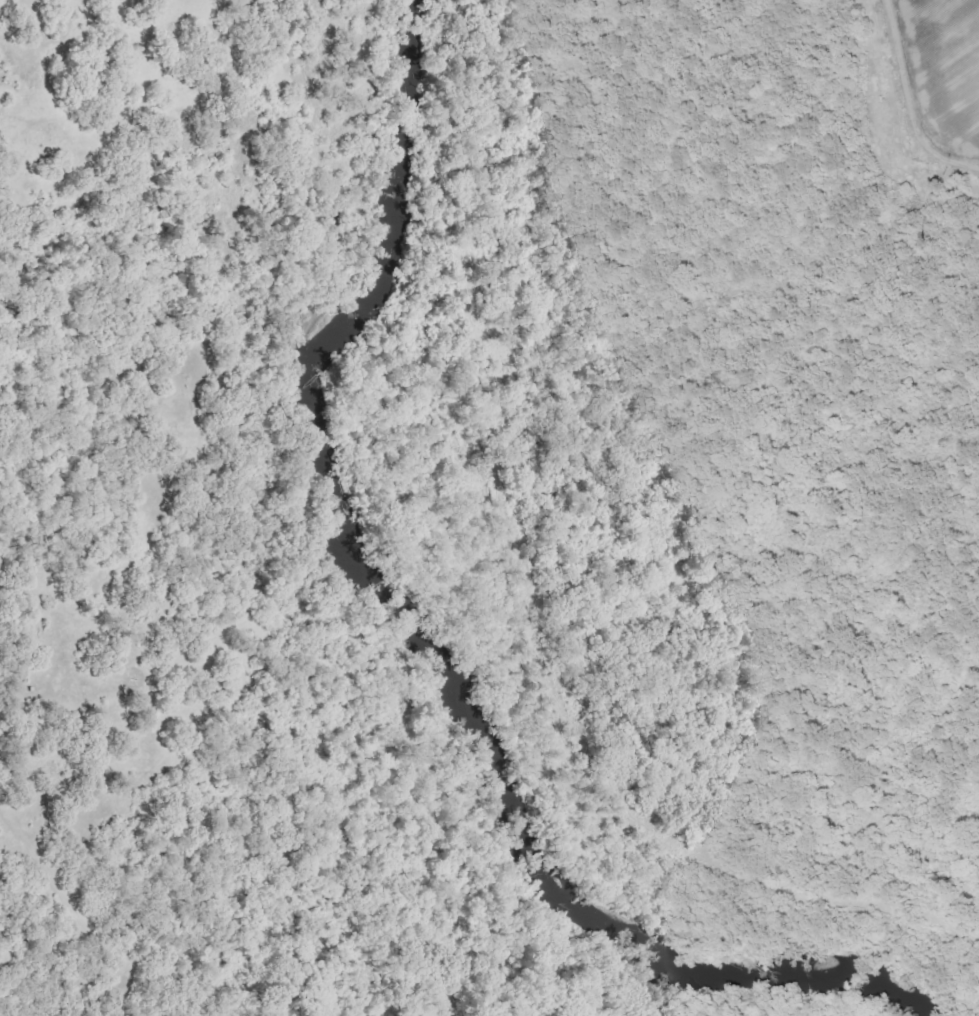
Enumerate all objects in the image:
river: (404, 643)

